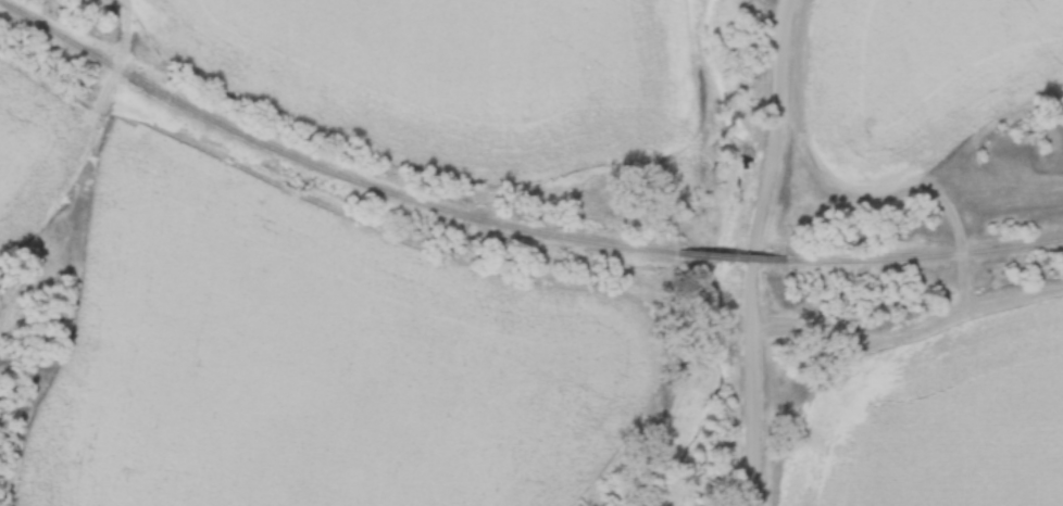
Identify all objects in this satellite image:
crop: (466, 73)
railway: (328, 169)
road: (754, 251)
railway: (730, 258)
railway: (925, 261)

